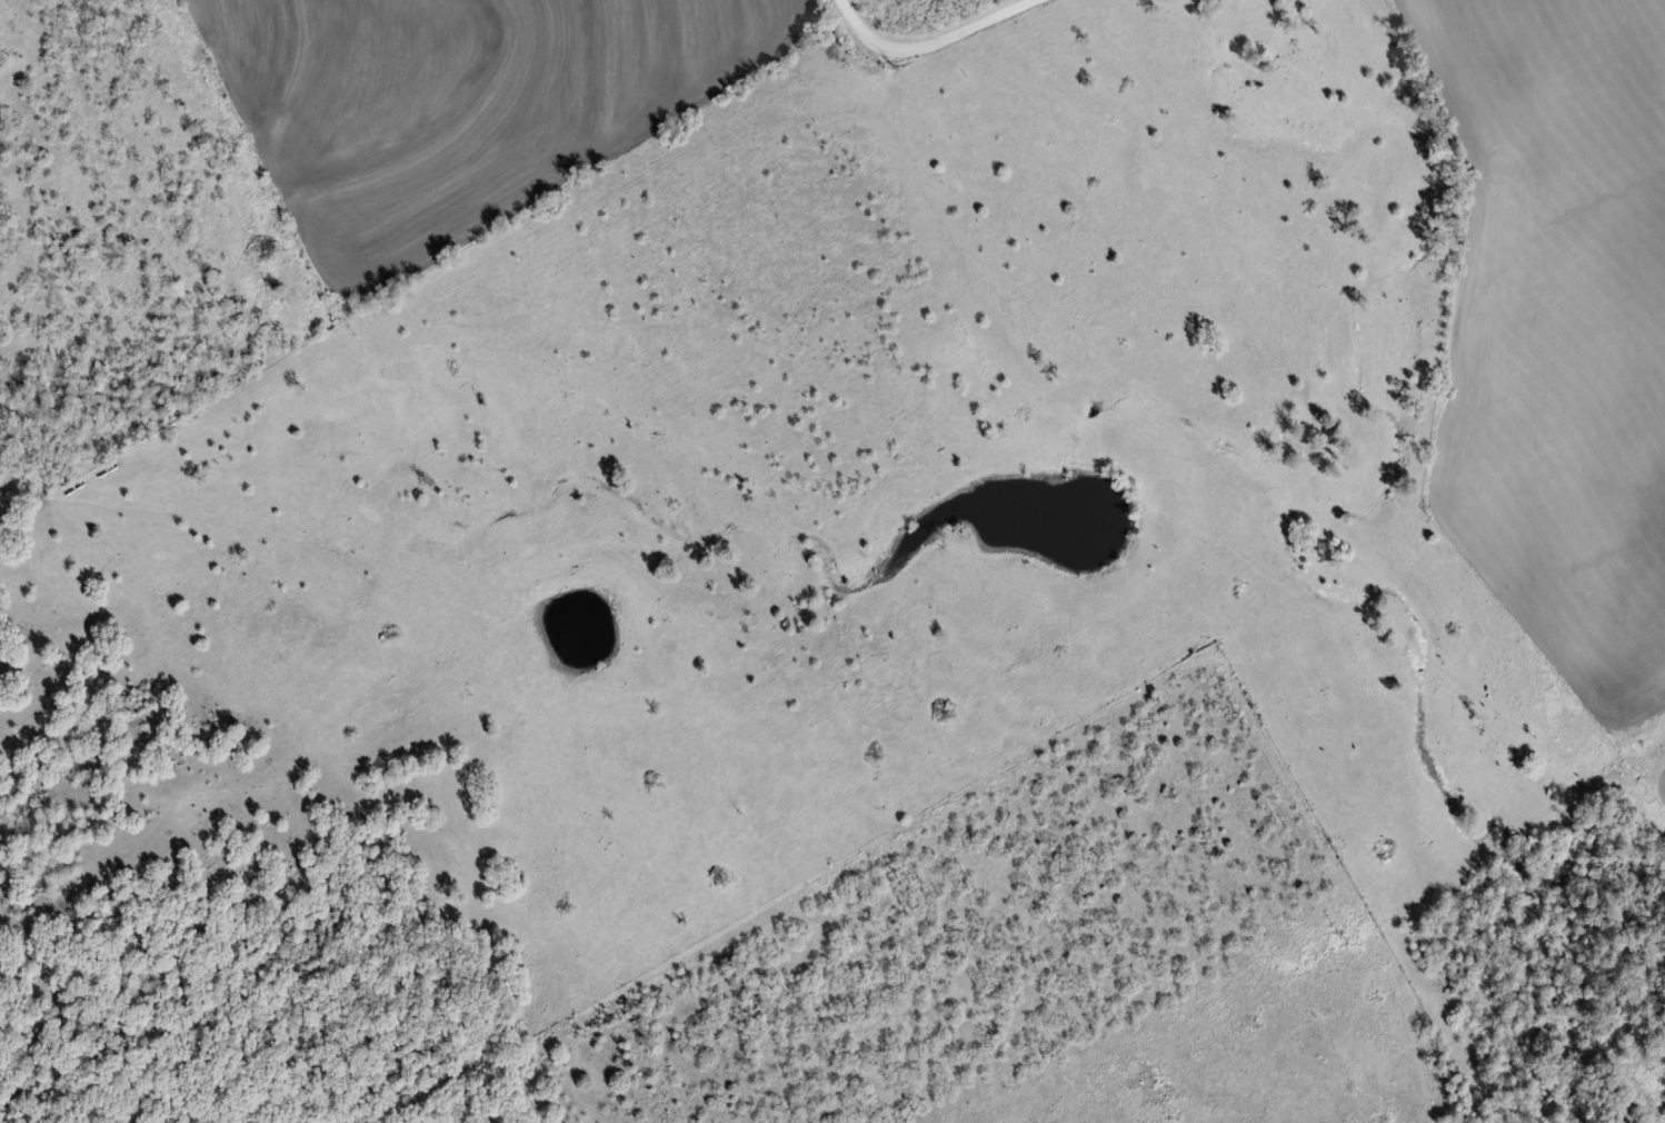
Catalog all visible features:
road: (920, 39)

